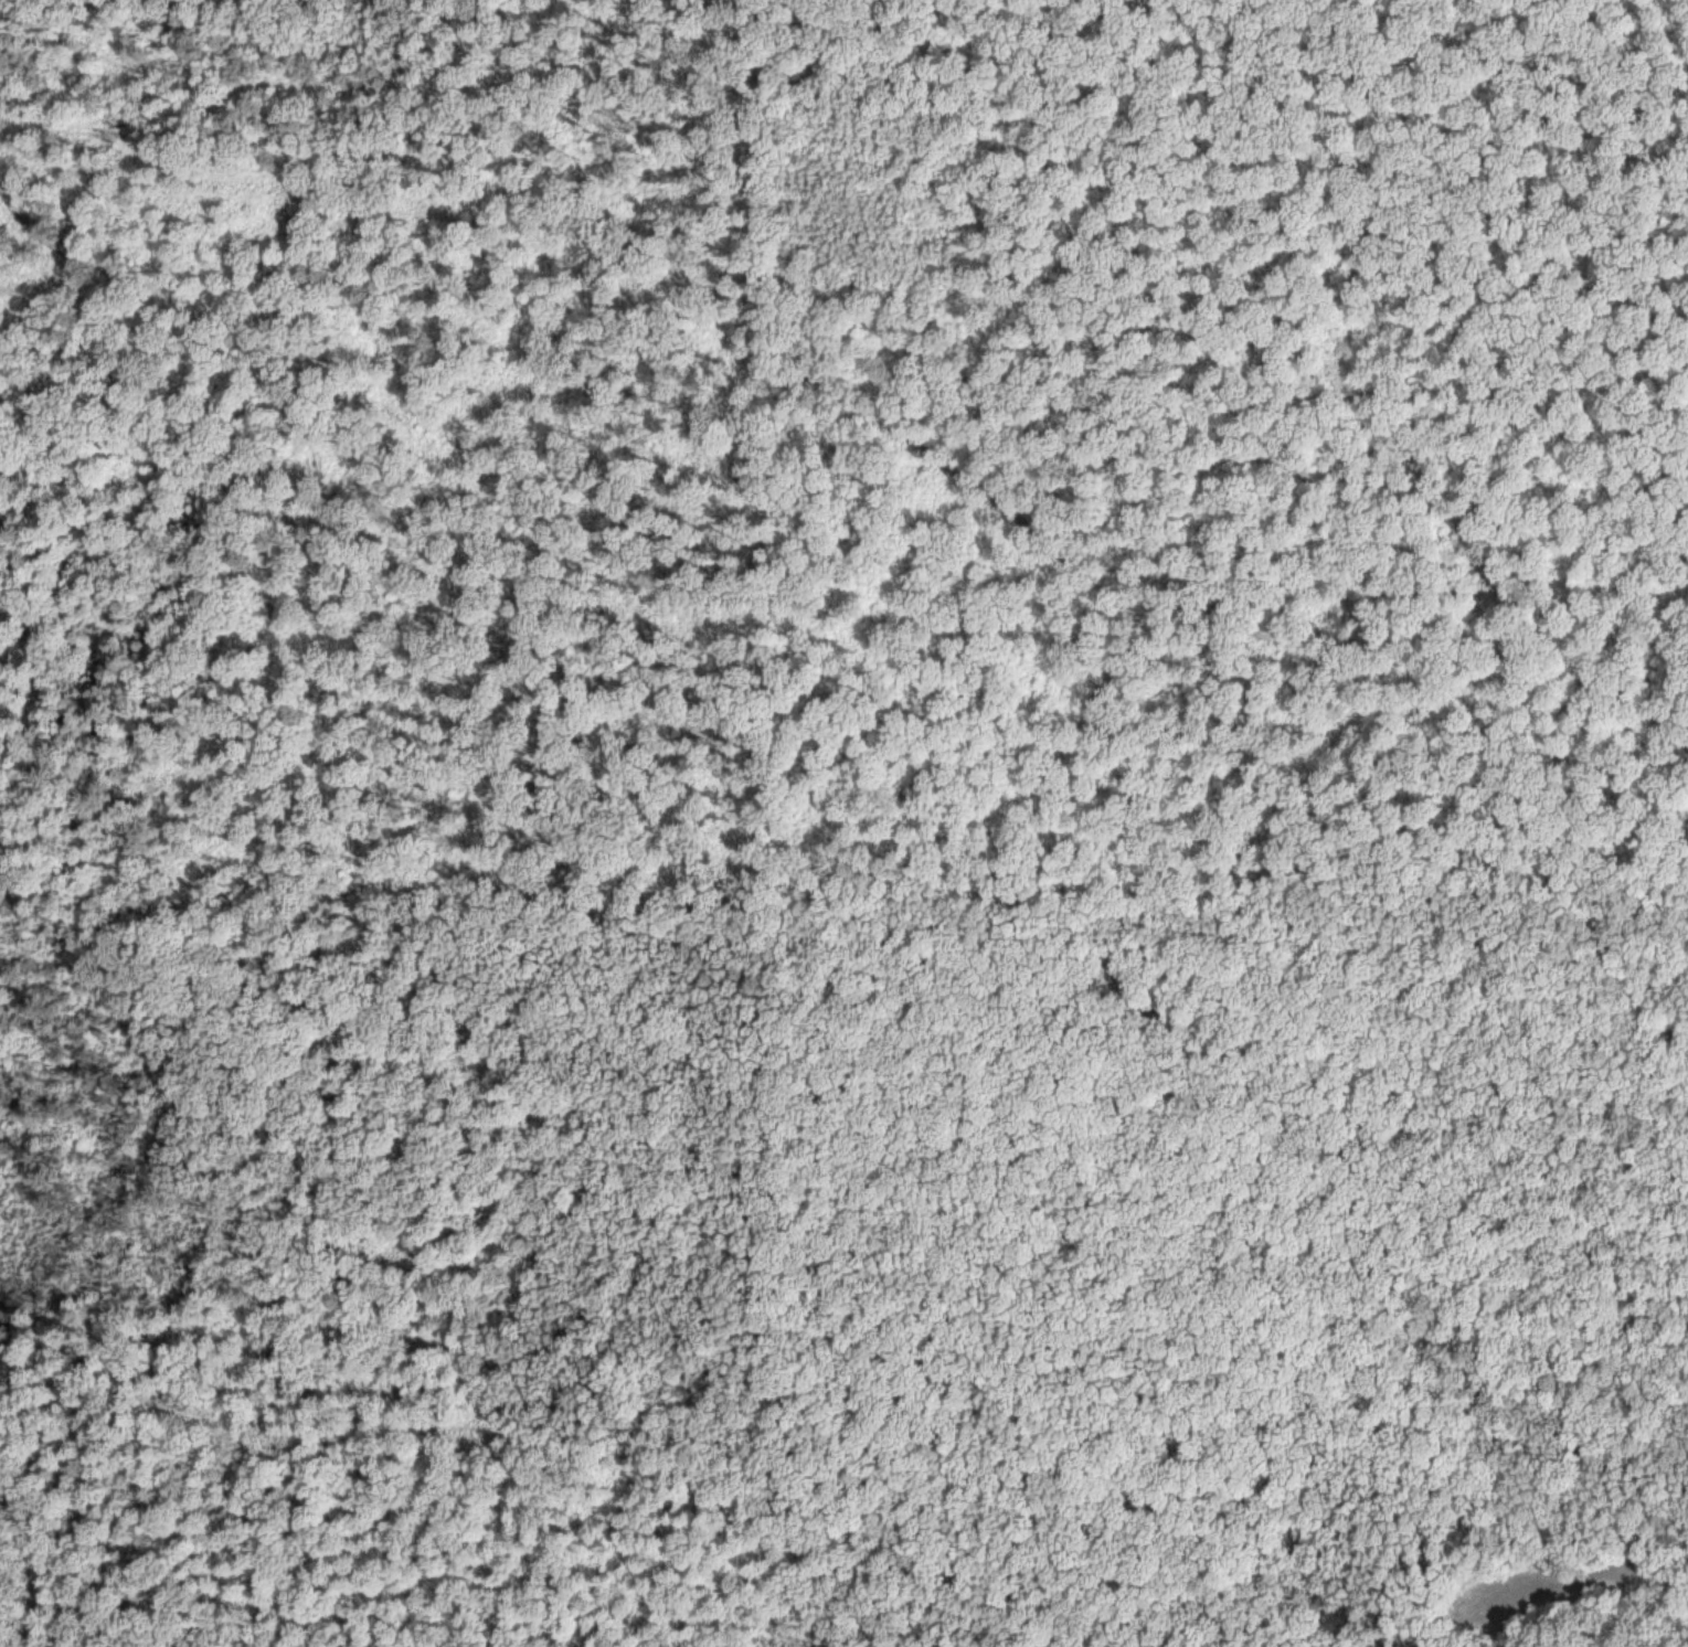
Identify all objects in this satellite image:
road: (1588, 1600)

